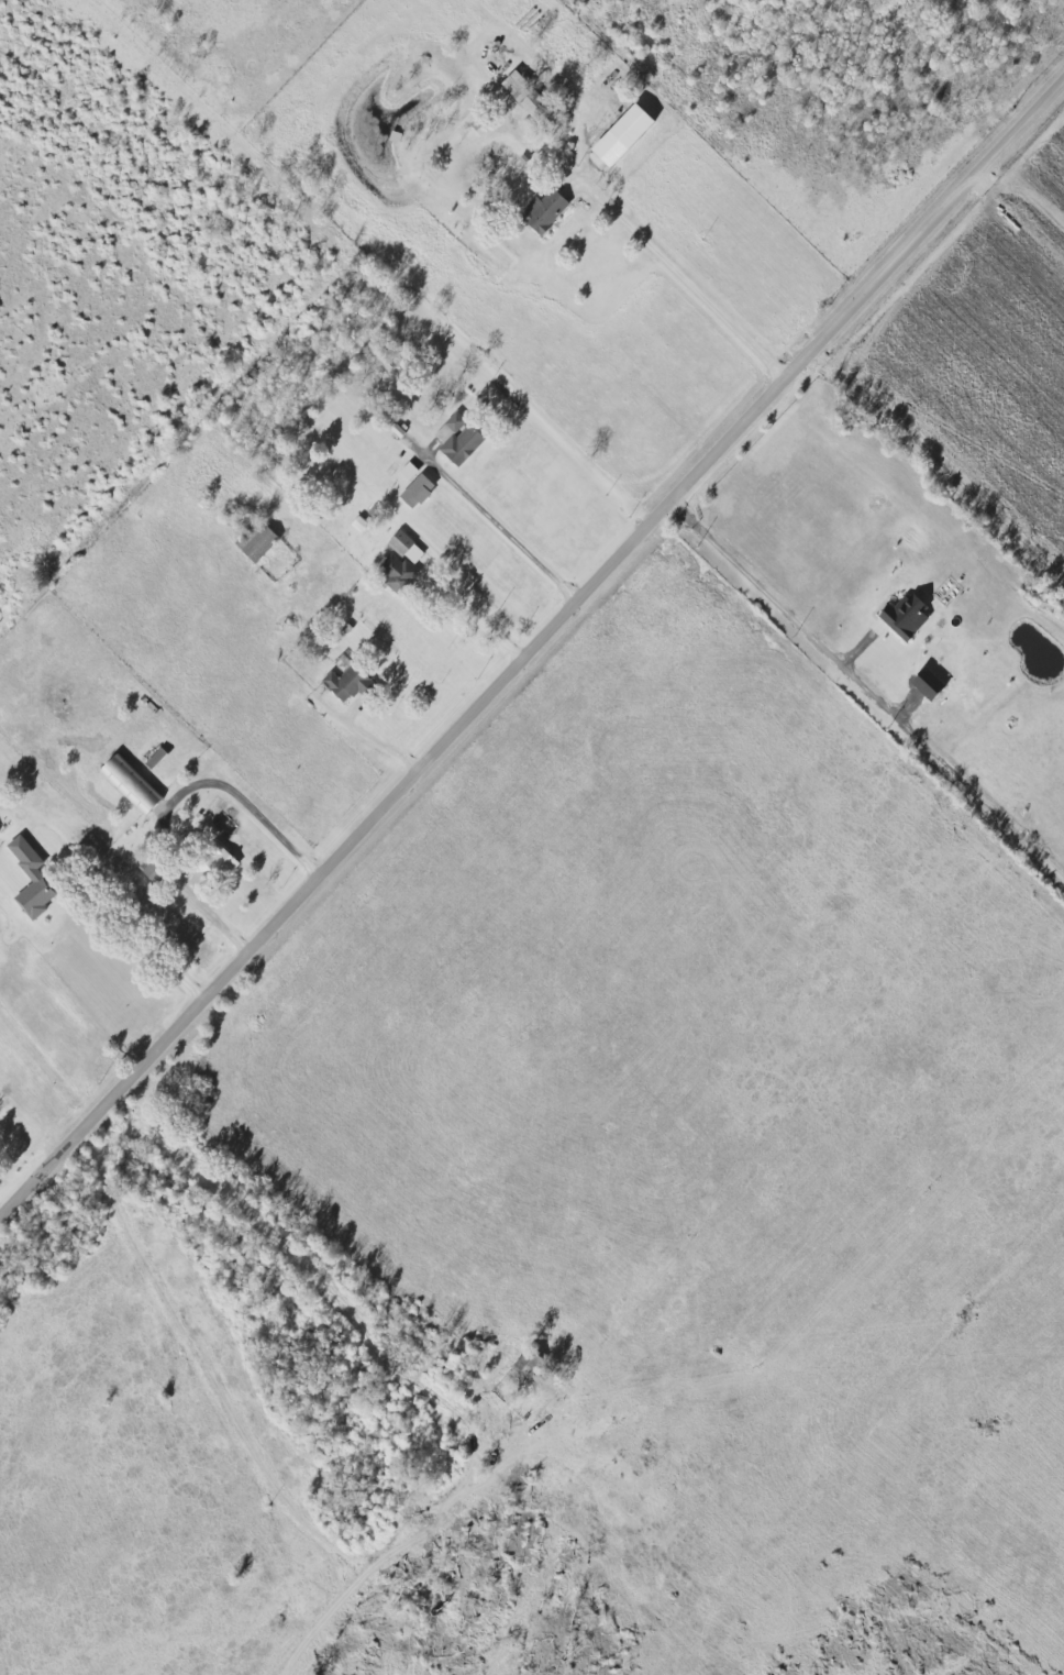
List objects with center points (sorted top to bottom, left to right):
building: (516, 82)
building: (531, 106)
building: (480, 128)
building: (627, 135)
building: (546, 210)
road: (687, 280)
building: (461, 439)
building: (420, 491)
building: (361, 525)
road: (505, 529)
building: (258, 541)
building: (406, 547)
building: (400, 572)
building: (909, 616)
road: (477, 618)
road: (532, 649)
road: (832, 654)
building: (351, 683)
building: (931, 684)
road: (376, 739)
building: (132, 786)
road: (181, 803)
building: (154, 870)
building: (213, 870)
building: (32, 879)
road: (143, 941)
building: (531, 1362)
road: (232, 1419)
road: (446, 1533)

